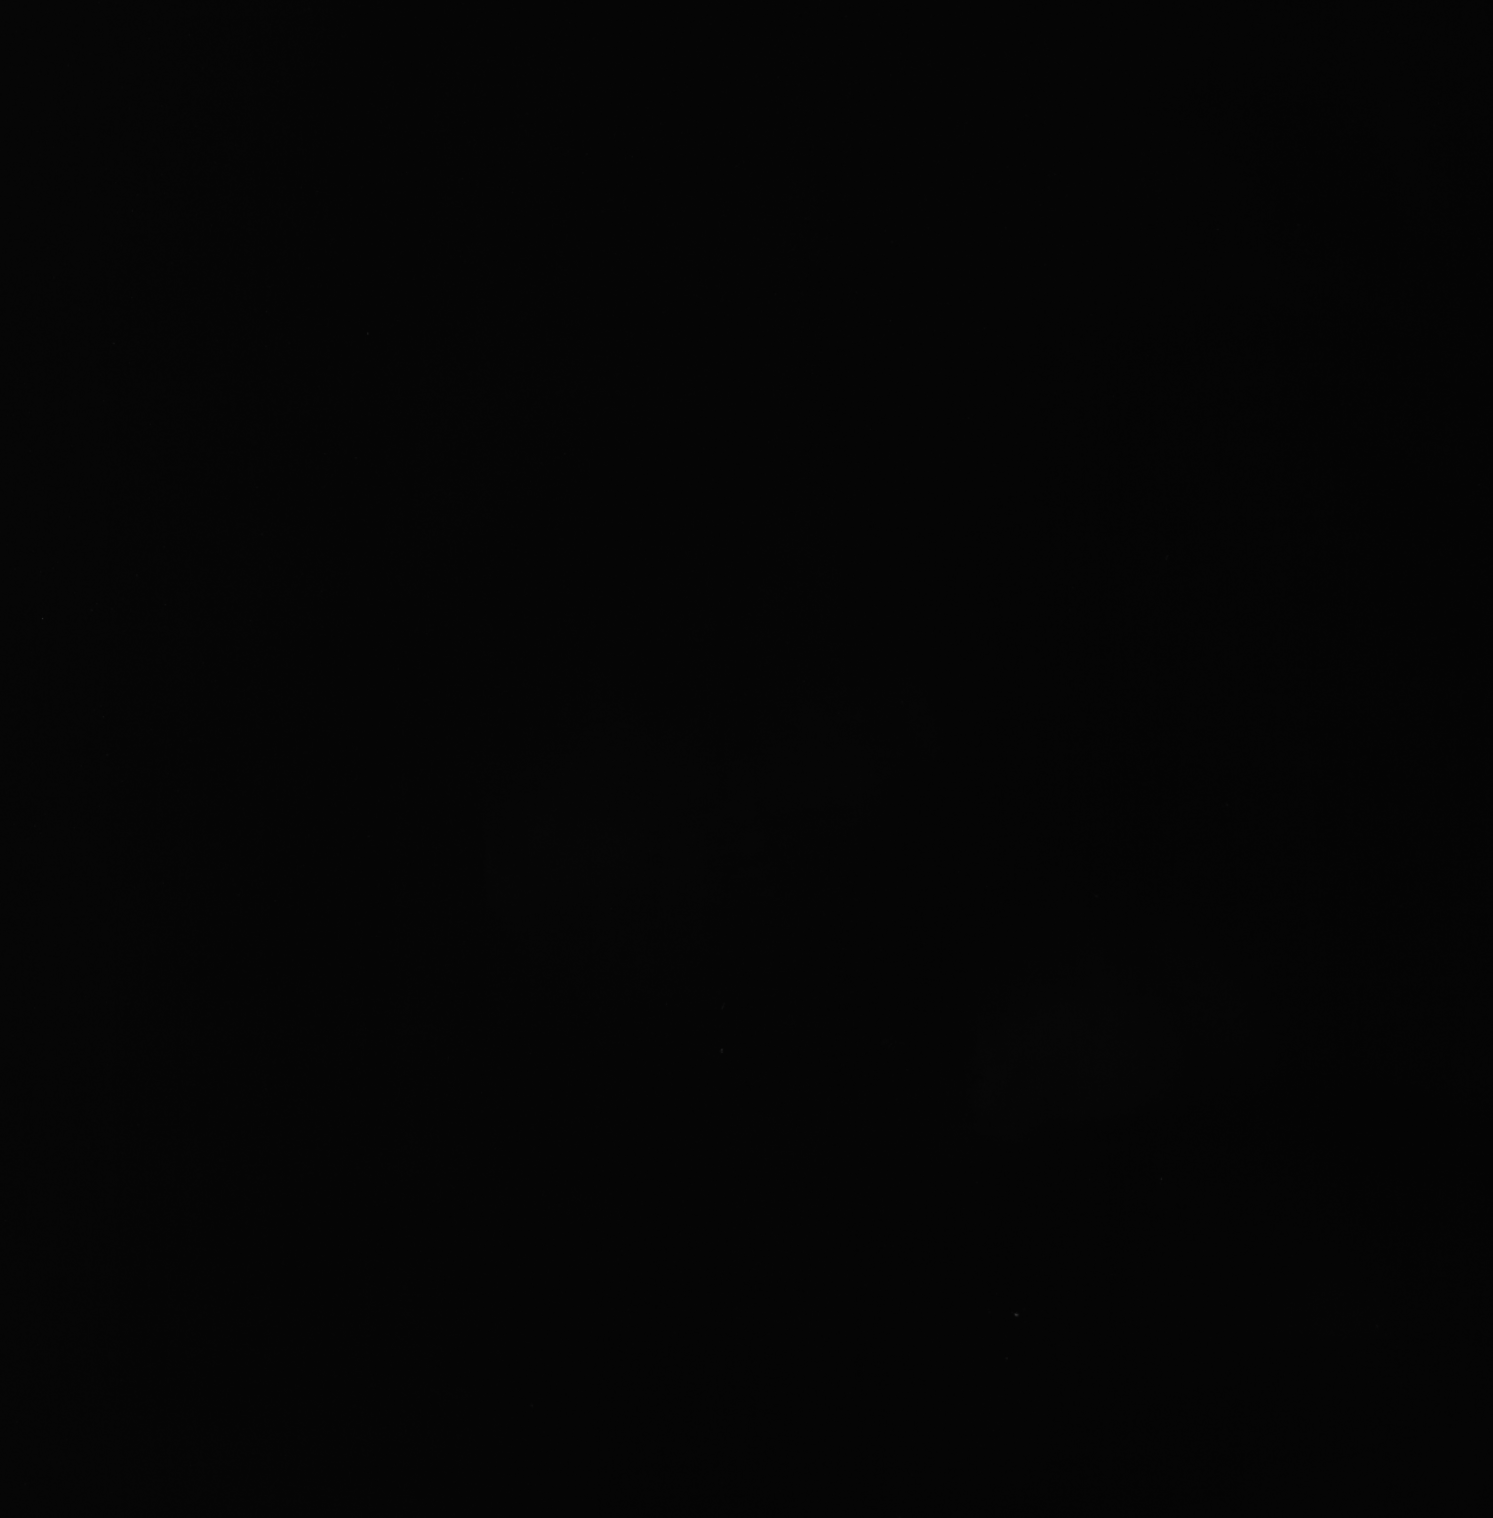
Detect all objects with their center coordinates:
river: (1393, 177)

